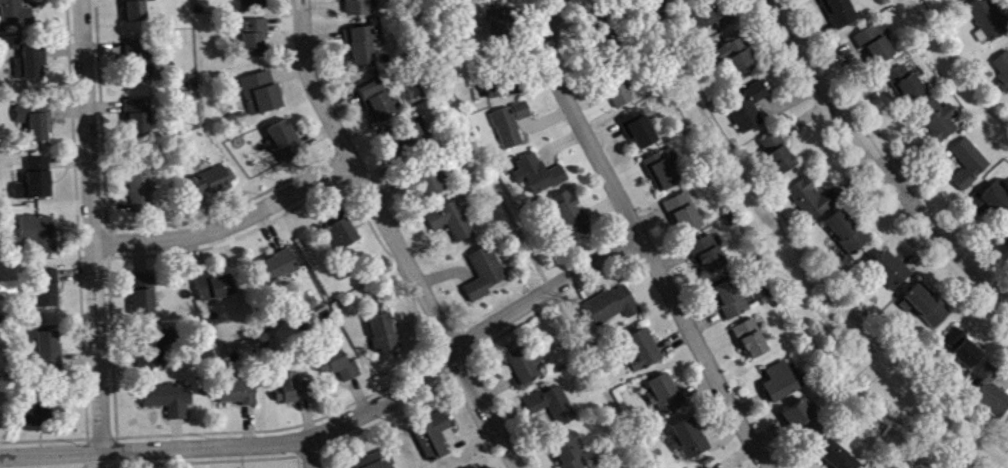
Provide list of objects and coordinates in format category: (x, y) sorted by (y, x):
building: (254, 4)
building: (359, 9)
building: (137, 11)
building: (840, 14)
building: (16, 15)
building: (710, 21)
building: (988, 22)
building: (498, 25)
building: (603, 30)
building: (254, 40)
building: (877, 47)
building: (362, 48)
building: (737, 57)
building: (140, 62)
building: (32, 64)
road: (956, 69)
building: (1002, 76)
building: (907, 88)
building: (502, 90)
building: (262, 96)
building: (620, 96)
building: (377, 104)
building: (748, 110)
building: (140, 121)
road: (578, 121)
building: (939, 123)
building: (37, 125)
building: (511, 127)
building: (641, 130)
building: (409, 141)
building: (285, 144)
building: (779, 156)
road: (874, 162)
building: (969, 167)
building: (663, 173)
building: (539, 178)
building: (36, 183)
building: (211, 184)
road: (362, 184)
building: (430, 184)
building: (141, 188)
building: (810, 203)
building: (989, 205)
building: (684, 217)
building: (571, 218)
building: (453, 224)
road: (231, 226)
road: (97, 233)
building: (341, 233)
building: (847, 234)
building: (39, 237)
road: (525, 237)
building: (1006, 242)
road: (799, 246)
building: (709, 257)
building: (278, 269)
building: (890, 273)
building: (485, 276)
building: (47, 291)
building: (215, 291)
building: (145, 297)
building: (731, 302)
building: (613, 308)
building: (927, 309)
building: (384, 336)
building: (752, 342)
building: (160, 350)
building: (962, 351)
building: (49, 353)
road: (704, 353)
building: (643, 354)
building: (339, 368)
building: (522, 371)
building: (784, 385)
building: (292, 392)
building: (239, 395)
building: (988, 395)
building: (667, 397)
building: (168, 403)
building: (553, 410)
road: (486, 412)
building: (799, 417)
building: (37, 418)
road: (344, 429)
building: (434, 438)
building: (689, 442)
building: (568, 453)
road: (314, 457)
building: (835, 457)
building: (374, 464)

